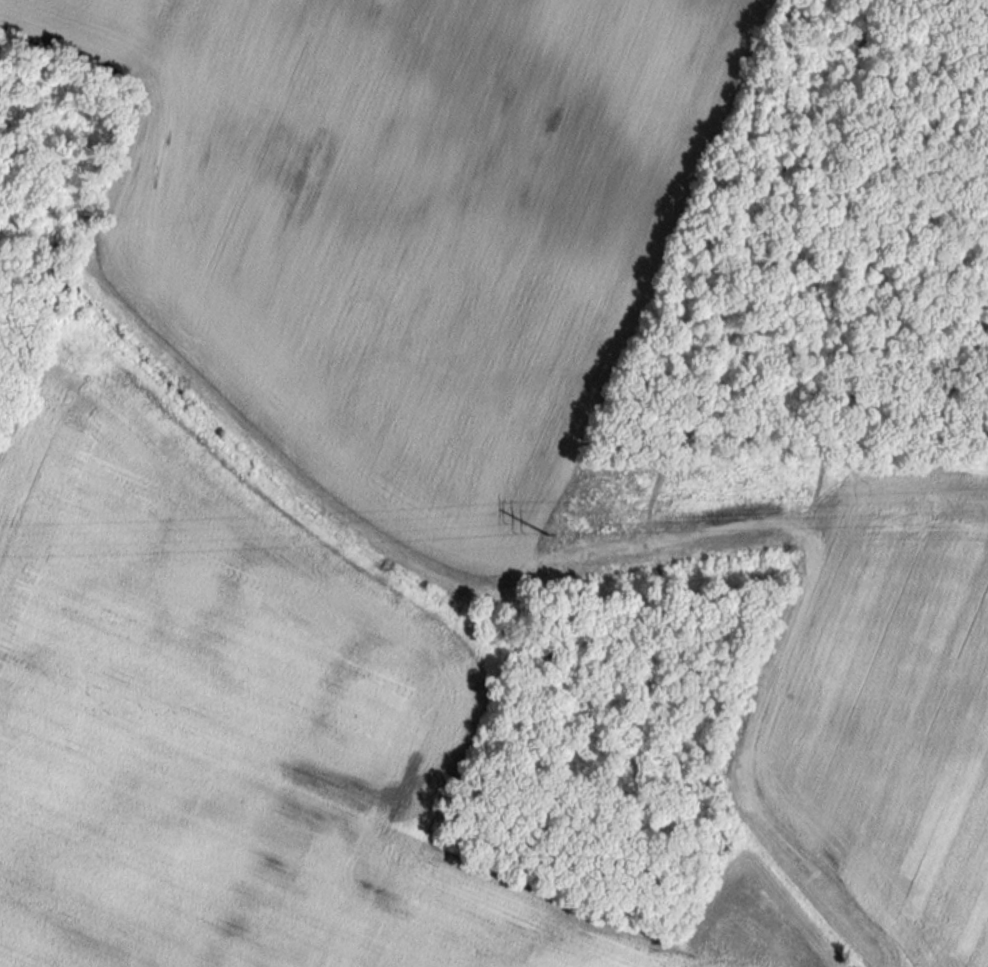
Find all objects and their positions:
crop: (103, 32)
crop: (422, 220)
power tower: (538, 541)
crop: (906, 732)
crop: (244, 748)

